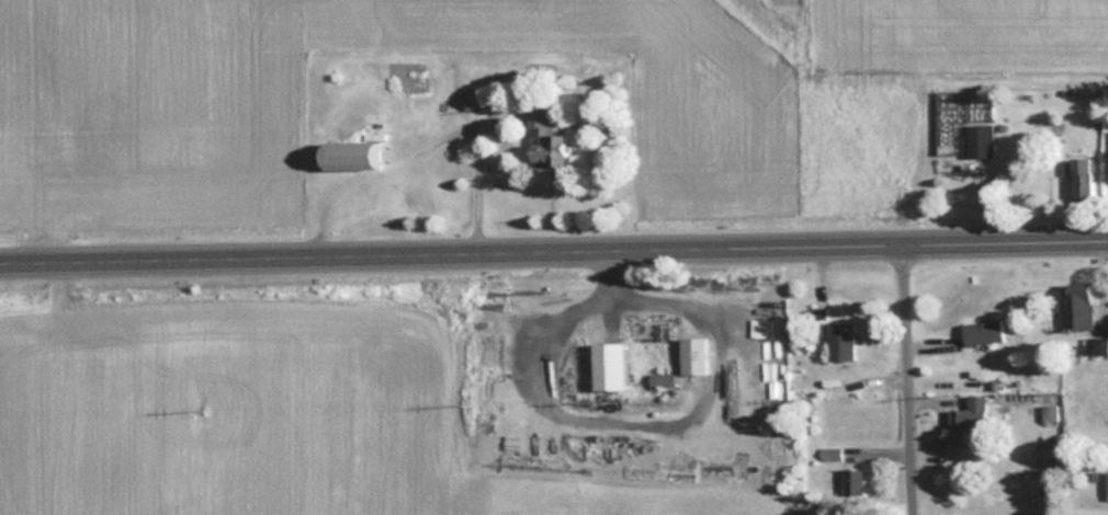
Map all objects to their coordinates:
building: (544, 140)
building: (980, 140)
building: (347, 154)
building: (1083, 176)
road: (1007, 245)
road: (453, 257)
building: (1077, 306)
building: (818, 307)
building: (982, 331)
building: (839, 340)
building: (494, 352)
building: (607, 364)
building: (660, 378)
road: (911, 381)
building: (963, 419)
building: (1106, 483)

